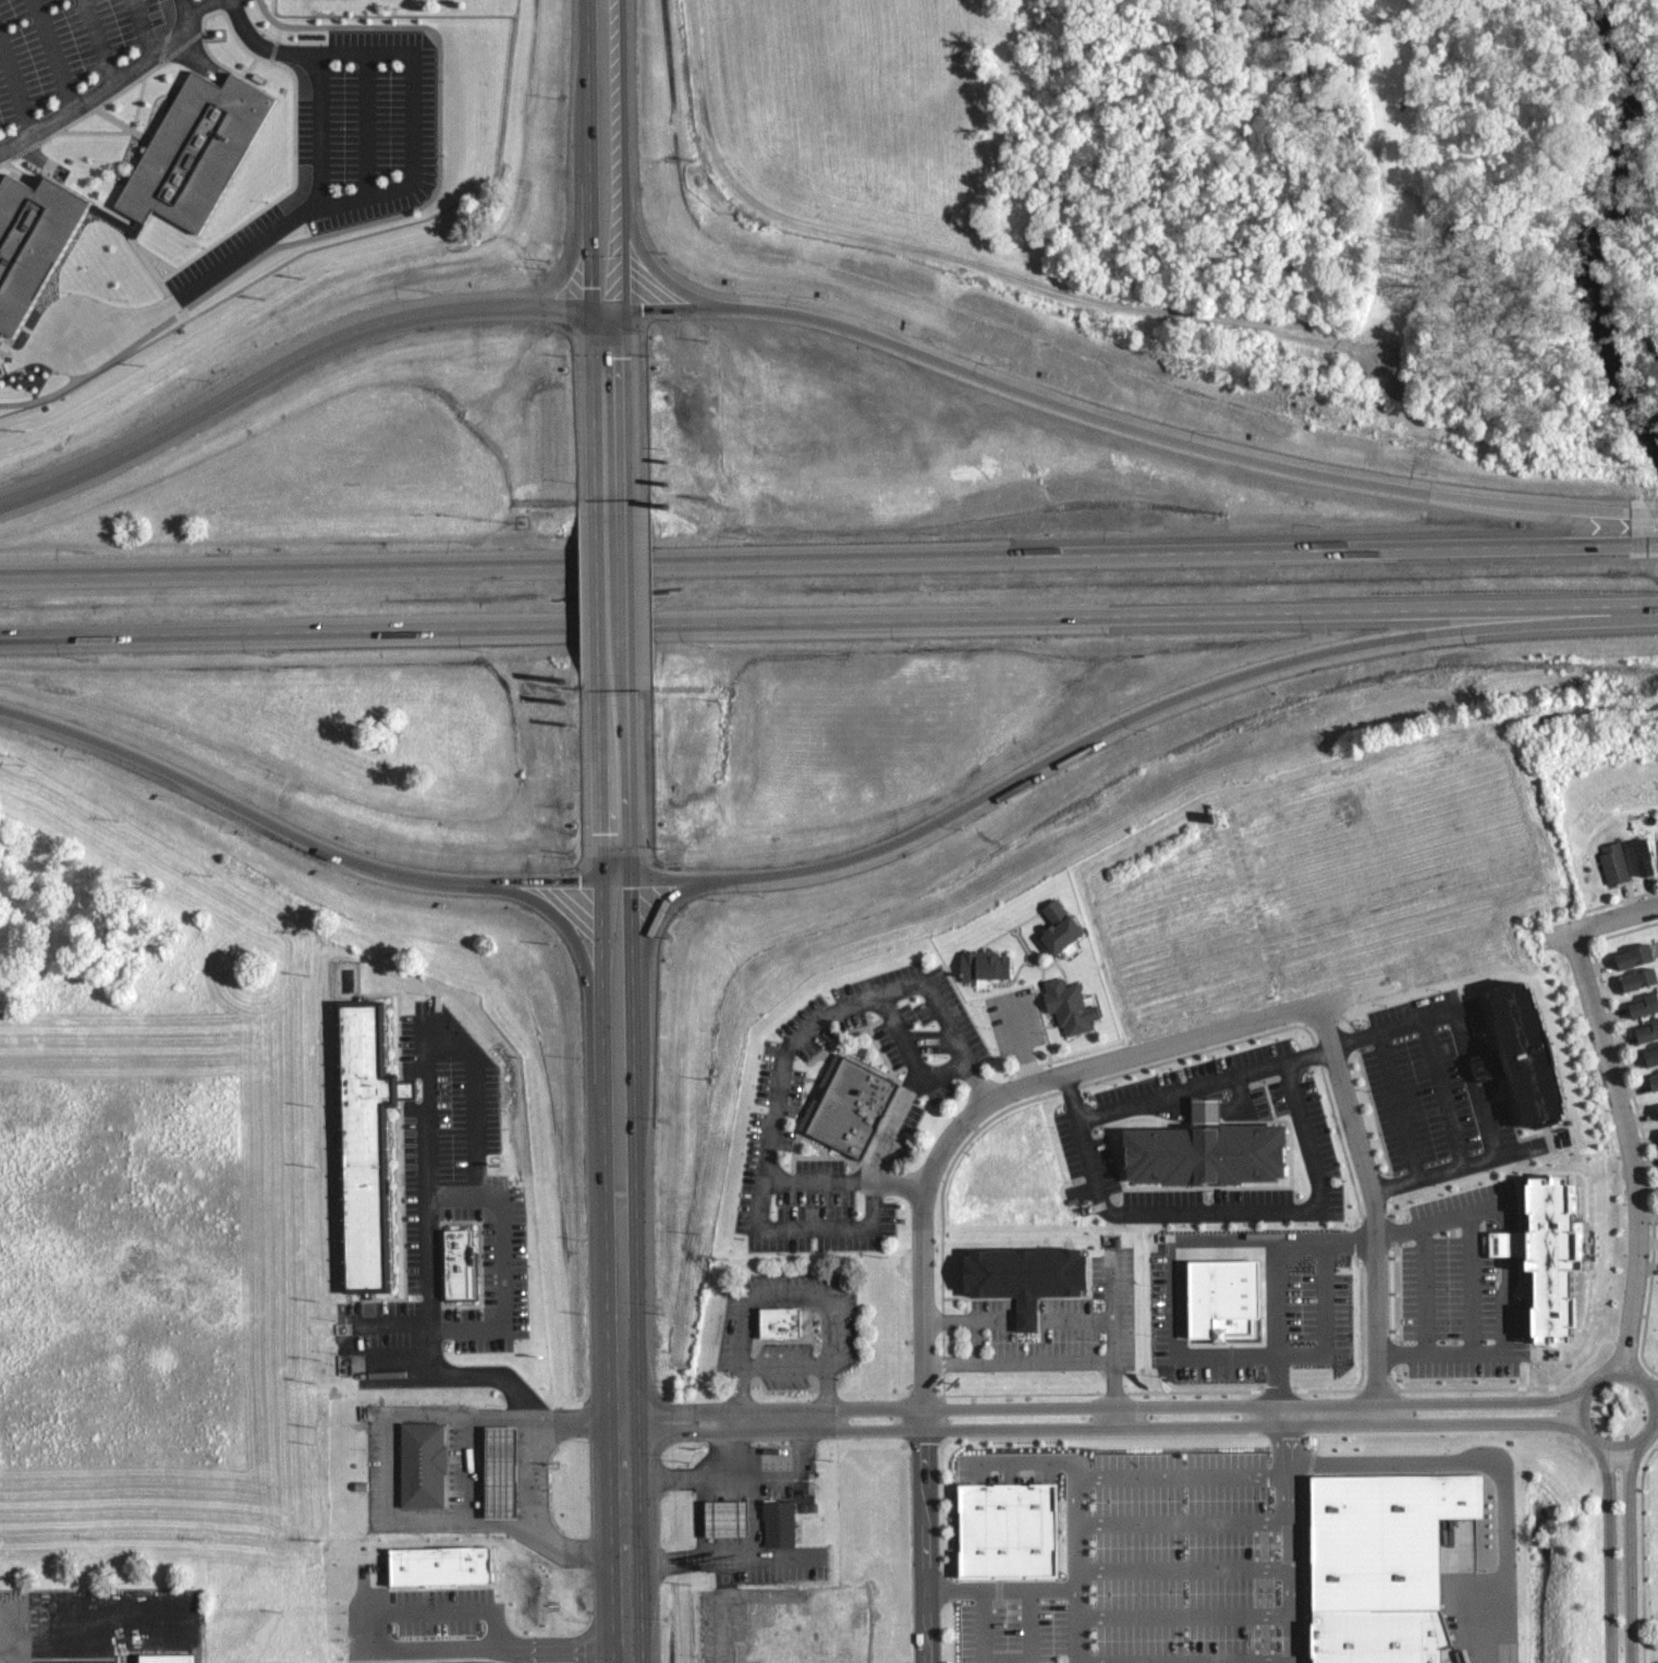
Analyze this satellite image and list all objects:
road: (141, 27)
road: (100, 39)
parking lot: (78, 52)
road: (56, 53)
road: (17, 82)
road: (108, 85)
road: (317, 132)
building: (198, 148)
road: (409, 185)
building: (34, 241)
road: (592, 251)
road: (622, 251)
road: (956, 257)
road: (570, 266)
road: (343, 338)
road: (1101, 420)
road: (1654, 513)
road: (829, 559)
road: (600, 585)
road: (625, 585)
road: (828, 620)
road: (1133, 716)
road: (305, 839)
building: (1643, 854)
building: (1612, 860)
traffic signals: (633, 877)
traffic signals: (602, 881)
road: (654, 921)
road: (1601, 923)
building: (1063, 927)
road: (1014, 933)
road: (573, 934)
road: (996, 937)
building: (1636, 955)
building: (984, 966)
road: (1060, 968)
road: (1043, 971)
building: (1638, 980)
road: (1010, 982)
building: (1073, 1004)
building: (1645, 1005)
road: (1040, 1025)
road: (1052, 1025)
building: (1649, 1031)
road: (899, 1032)
road: (1353, 1037)
road: (1020, 1040)
road: (791, 1042)
road: (1459, 1051)
road: (1308, 1052)
building: (1525, 1052)
road: (1085, 1053)
building: (1651, 1055)
road: (1029, 1068)
building: (1654, 1080)
road: (977, 1081)
road: (1441, 1091)
road: (1068, 1095)
road: (997, 1096)
road: (476, 1098)
building: (849, 1101)
road: (1243, 1102)
road: (904, 1104)
road: (1398, 1104)
building: (1657, 1104)
road: (1169, 1105)
road: (1208, 1112)
building: (1656, 1112)
building: (370, 1143)
building: (1210, 1150)
road: (1627, 1150)
road: (636, 1164)
road: (607, 1165)
road: (1451, 1168)
road: (1318, 1172)
road: (899, 1182)
road: (1369, 1209)
road: (1466, 1214)
road: (813, 1228)
road: (1388, 1231)
road: (426, 1257)
building: (462, 1261)
building: (1545, 1261)
road: (501, 1262)
building: (1032, 1273)
road: (1471, 1284)
road: (1507, 1288)
road: (1424, 1292)
road: (1281, 1294)
road: (775, 1296)
building: (1220, 1299)
road: (1028, 1314)
road: (1078, 1314)
road: (971, 1315)
building: (789, 1321)
road: (391, 1324)
road: (975, 1338)
road: (1116, 1342)
road: (1389, 1355)
road: (1458, 1355)
road: (1020, 1361)
road: (784, 1363)
road: (397, 1367)
road: (1587, 1384)
road: (1655, 1398)
road: (1094, 1407)
road: (430, 1411)
road: (571, 1420)
road: (1094, 1428)
road: (1478, 1453)
building: (427, 1462)
road: (472, 1468)
building: (505, 1469)
gas station: (505, 1469)
road: (704, 1470)
road: (1129, 1478)
building: (813, 1481)
building: (724, 1516)
gas station: (730, 1516)
road: (1182, 1521)
building: (778, 1525)
building: (1389, 1530)
building: (1007, 1532)
road: (926, 1546)
road: (1607, 1555)
road: (1626, 1555)
road: (747, 1556)
road: (1288, 1558)
road: (1183, 1568)
building: (466, 1571)
building: (378, 1580)
road: (1002, 1589)
road: (723, 1610)
road: (1184, 1616)
road: (1078, 1626)
building: (1389, 1630)
road: (47, 1638)
road: (400, 1651)
building: (166, 1659)
road: (1007, 1660)

